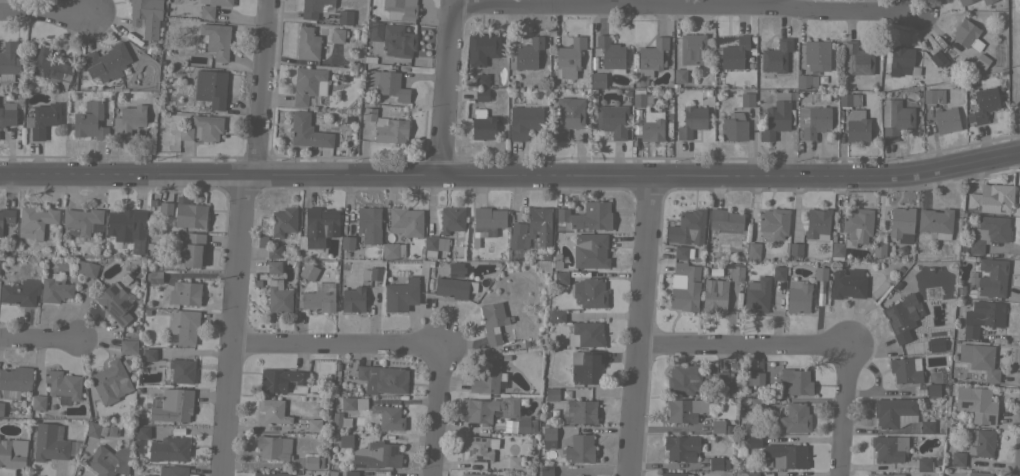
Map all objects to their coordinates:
road: (627, 1)
building: (986, 1)
building: (964, 2)
road: (687, 3)
road: (796, 3)
building: (211, 8)
building: (312, 8)
building: (400, 9)
road: (46, 10)
building: (142, 13)
building: (344, 16)
building: (373, 30)
building: (156, 34)
building: (338, 35)
building: (967, 35)
building: (216, 39)
building: (398, 40)
building: (752, 40)
building: (307, 43)
building: (482, 47)
building: (692, 50)
building: (752, 51)
building: (610, 52)
building: (734, 53)
building: (525, 54)
building: (717, 54)
building: (816, 54)
building: (651, 56)
building: (776, 56)
building: (569, 58)
building: (938, 58)
building: (369, 59)
building: (856, 59)
building: (9, 61)
building: (901, 61)
building: (981, 61)
building: (107, 62)
building: (593, 63)
building: (750, 66)
building: (50, 67)
building: (679, 76)
building: (597, 79)
building: (481, 80)
building: (716, 81)
building: (806, 81)
building: (308, 84)
building: (388, 84)
building: (515, 85)
building: (211, 87)
road: (445, 87)
building: (482, 94)
building: (708, 94)
building: (933, 96)
building: (641, 98)
building: (747, 99)
building: (849, 99)
building: (984, 103)
building: (1016, 106)
building: (7, 114)
building: (568, 116)
building: (777, 116)
building: (895, 118)
building: (42, 119)
building: (129, 120)
building: (612, 120)
building: (813, 120)
building: (946, 120)
building: (90, 121)
building: (524, 121)
building: (691, 121)
building: (482, 124)
building: (651, 126)
building: (856, 126)
building: (207, 127)
building: (387, 127)
building: (734, 127)
building: (308, 131)
building: (186, 132)
road: (731, 159)
road: (511, 175)
building: (991, 198)
building: (165, 207)
building: (189, 213)
building: (6, 216)
building: (588, 216)
building: (451, 219)
building: (81, 220)
building: (725, 220)
building: (35, 221)
building: (283, 221)
building: (406, 221)
building: (486, 222)
building: (936, 222)
building: (773, 223)
building: (369, 224)
building: (818, 224)
building: (858, 224)
building: (901, 224)
building: (127, 227)
building: (318, 227)
building: (688, 227)
building: (531, 229)
building: (987, 233)
road: (242, 237)
building: (347, 242)
building: (434, 245)
building: (191, 248)
building: (795, 249)
building: (837, 249)
building: (879, 249)
building: (392, 250)
building: (590, 250)
building: (753, 251)
building: (274, 252)
building: (680, 252)
building: (274, 267)
building: (86, 268)
building: (455, 269)
building: (308, 271)
building: (778, 272)
building: (372, 273)
building: (737, 273)
building: (820, 273)
building: (155, 277)
building: (560, 277)
building: (992, 277)
building: (848, 283)
building: (455, 287)
building: (684, 287)
rooftop solar panel: (112, 288)
building: (55, 290)
building: (20, 292)
building: (589, 292)
building: (185, 293)
building: (401, 294)
building: (757, 295)
building: (714, 296)
building: (798, 296)
building: (279, 297)
building: (353, 299)
building: (318, 301)
building: (115, 303)
rooftop solar panel: (125, 303)
rooftop solar panel: (113, 310)
building: (557, 316)
building: (902, 317)
building: (982, 317)
building: (493, 321)
building: (183, 325)
road: (643, 325)
building: (585, 334)
road: (43, 339)
road: (338, 342)
building: (935, 344)
building: (128, 346)
road: (748, 346)
building: (149, 354)
building: (980, 360)
building: (585, 366)
building: (179, 370)
building: (905, 370)
building: (488, 377)
building: (723, 378)
building: (753, 378)
building: (280, 379)
building: (382, 379)
building: (684, 379)
building: (15, 381)
building: (109, 381)
building: (795, 382)
building: (63, 385)
building: (932, 389)
building: (550, 394)
building: (38, 402)
building: (353, 403)
building: (976, 403)
building: (757, 404)
building: (172, 405)
road: (848, 406)
building: (1, 408)
building: (491, 409)
building: (685, 409)
road: (438, 410)
building: (273, 411)
building: (580, 412)
building: (894, 412)
building: (388, 417)
rooftop solar panel: (565, 417)
building: (795, 418)
building: (336, 421)
building: (525, 424)
building: (314, 425)
building: (718, 426)
building: (926, 426)
building: (96, 429)
building: (142, 432)
building: (548, 437)
building: (345, 440)
building: (754, 441)
building: (49, 442)
building: (980, 442)
building: (274, 447)
building: (169, 448)
building: (478, 448)
building: (681, 448)
building: (889, 448)
building: (580, 449)
building: (12, 453)
building: (376, 455)
building: (786, 456)
building: (957, 458)
building: (108, 461)
building: (313, 462)
building: (515, 462)
building: (718, 463)
building: (925, 464)
building: (173, 470)
building: (546, 471)
building: (351, 473)
building: (978, 473)
building: (271, 474)
building: (475, 474)
building: (675, 474)
building: (746, 474)
building: (886, 474)
building: (148, 475)

